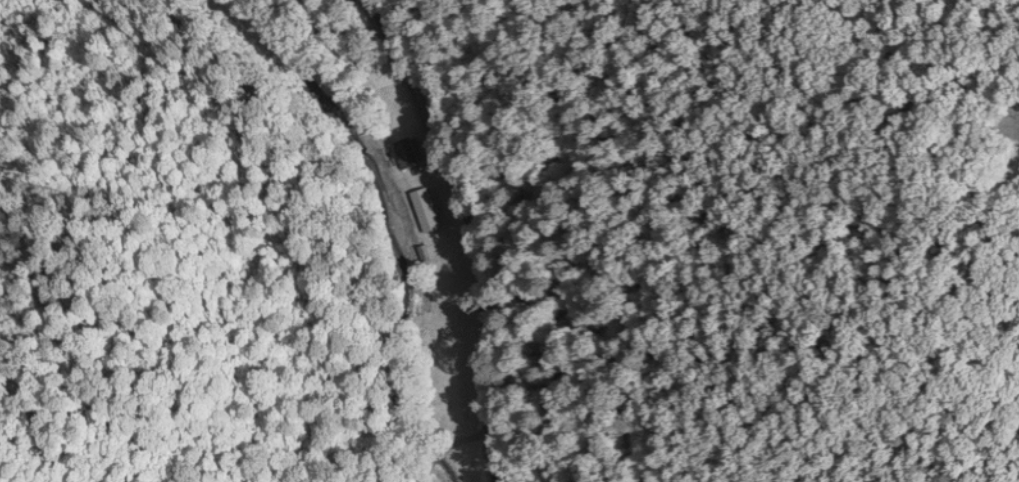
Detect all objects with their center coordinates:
road: (422, 45)
building: (404, 153)
road: (474, 231)
road: (445, 441)

